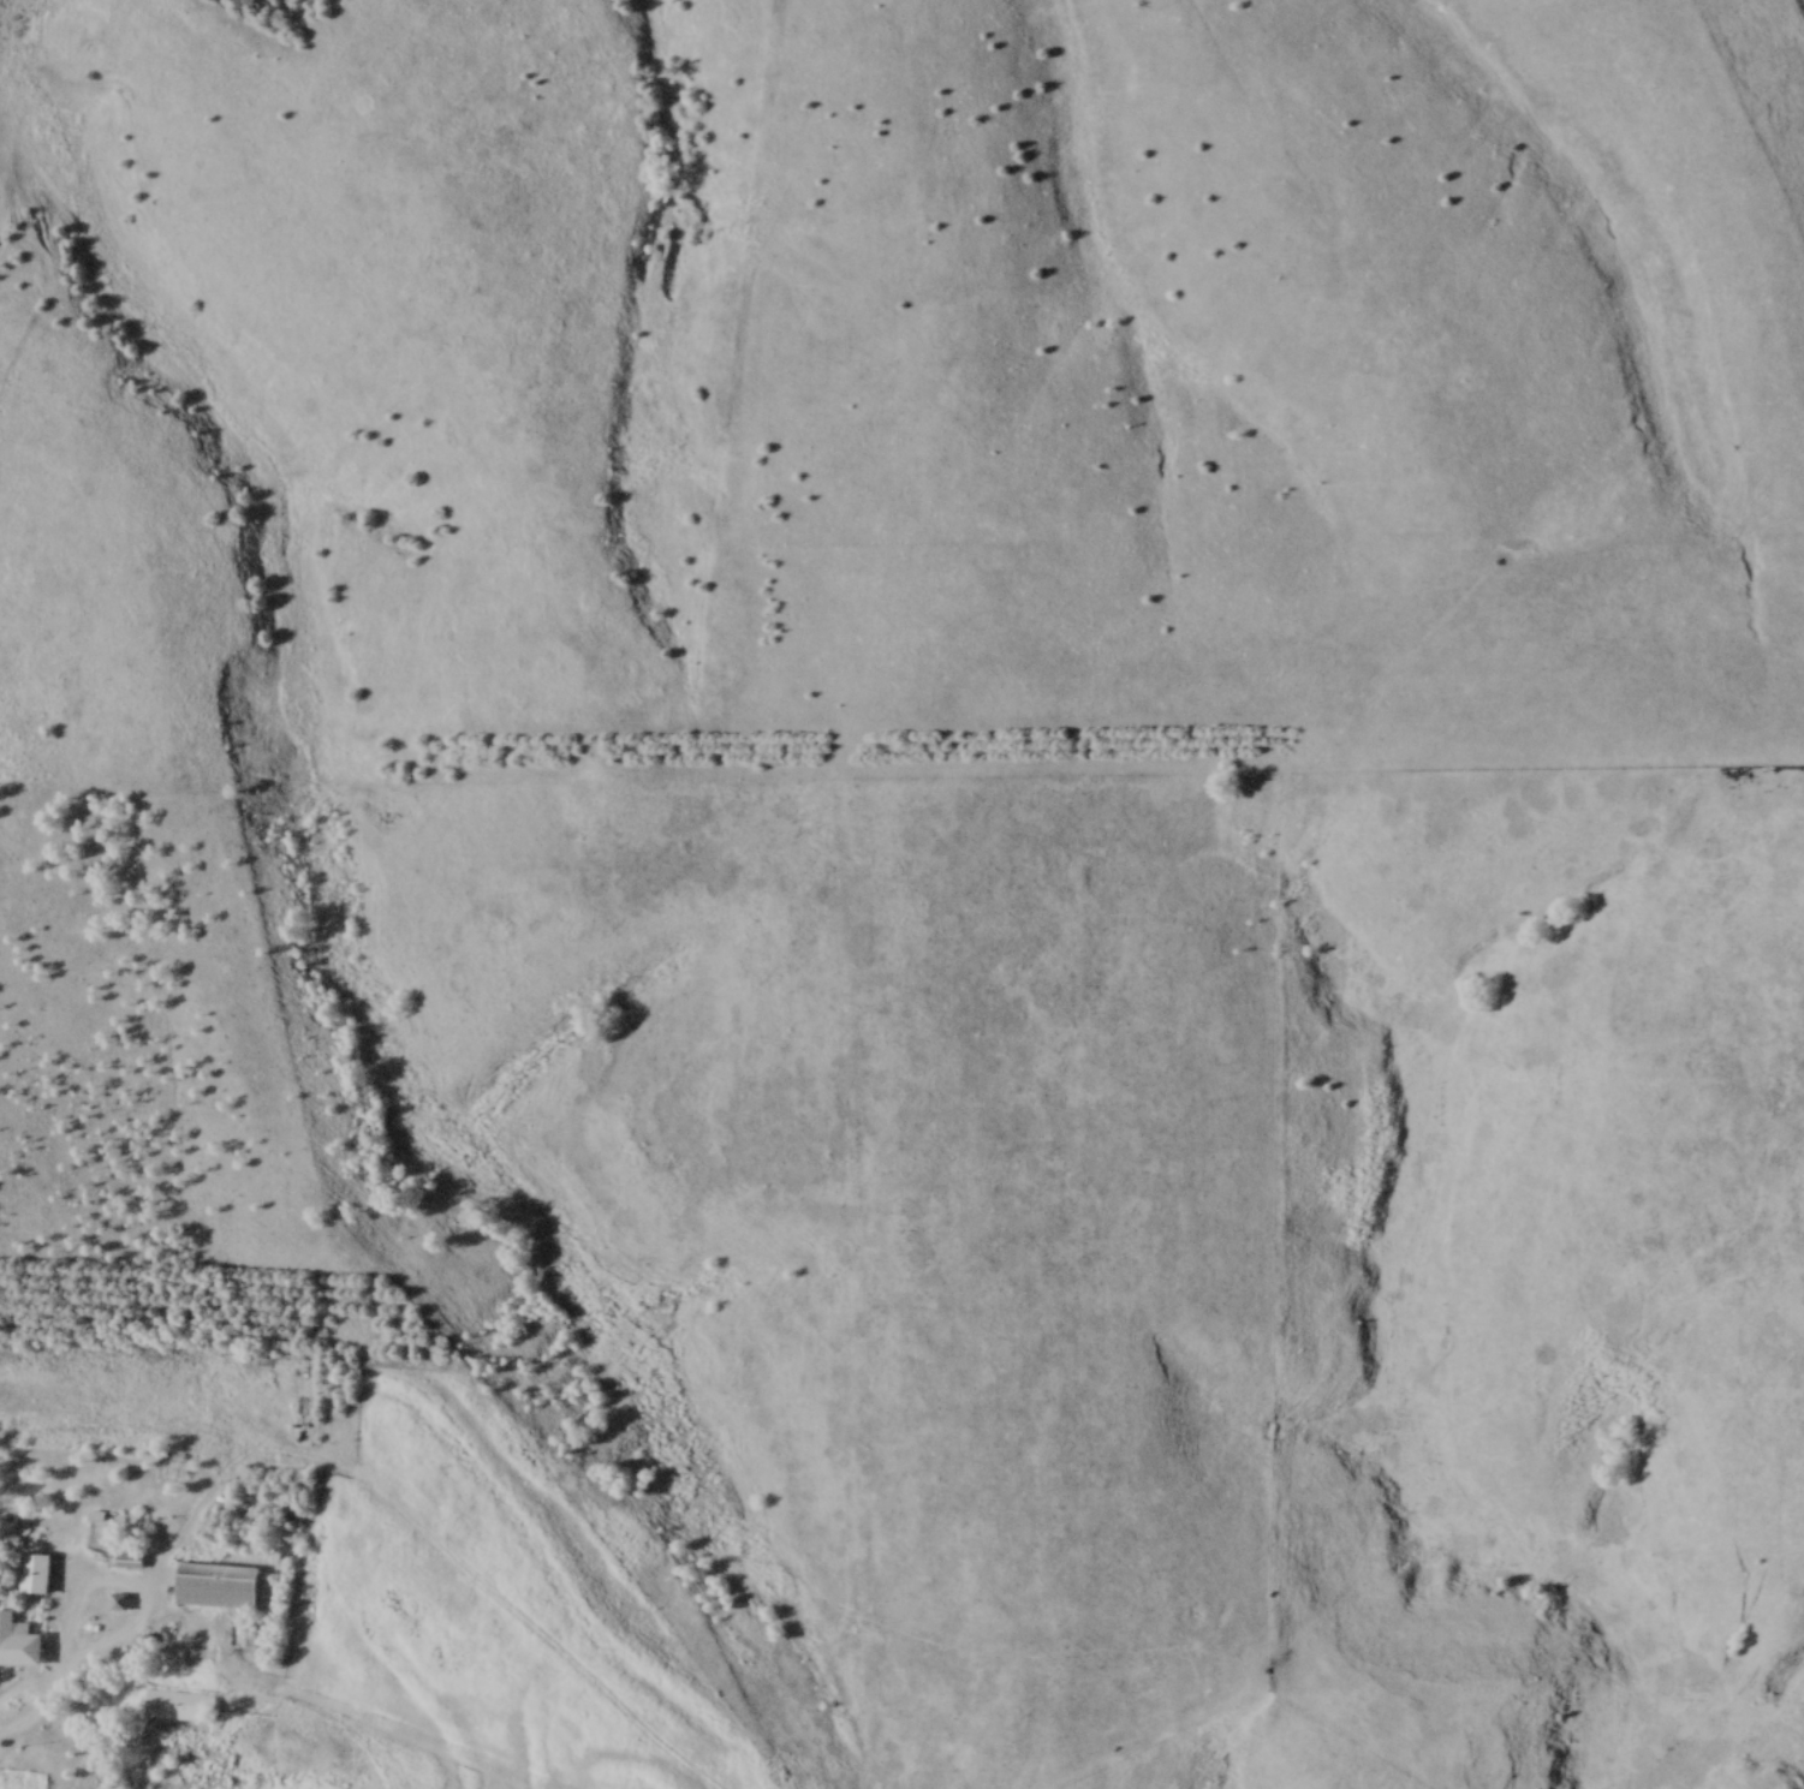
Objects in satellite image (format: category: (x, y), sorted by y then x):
building: (42, 1575)
road: (102, 1582)
building: (222, 1587)
building: (20, 1644)
road: (42, 1704)
building: (186, 1707)

